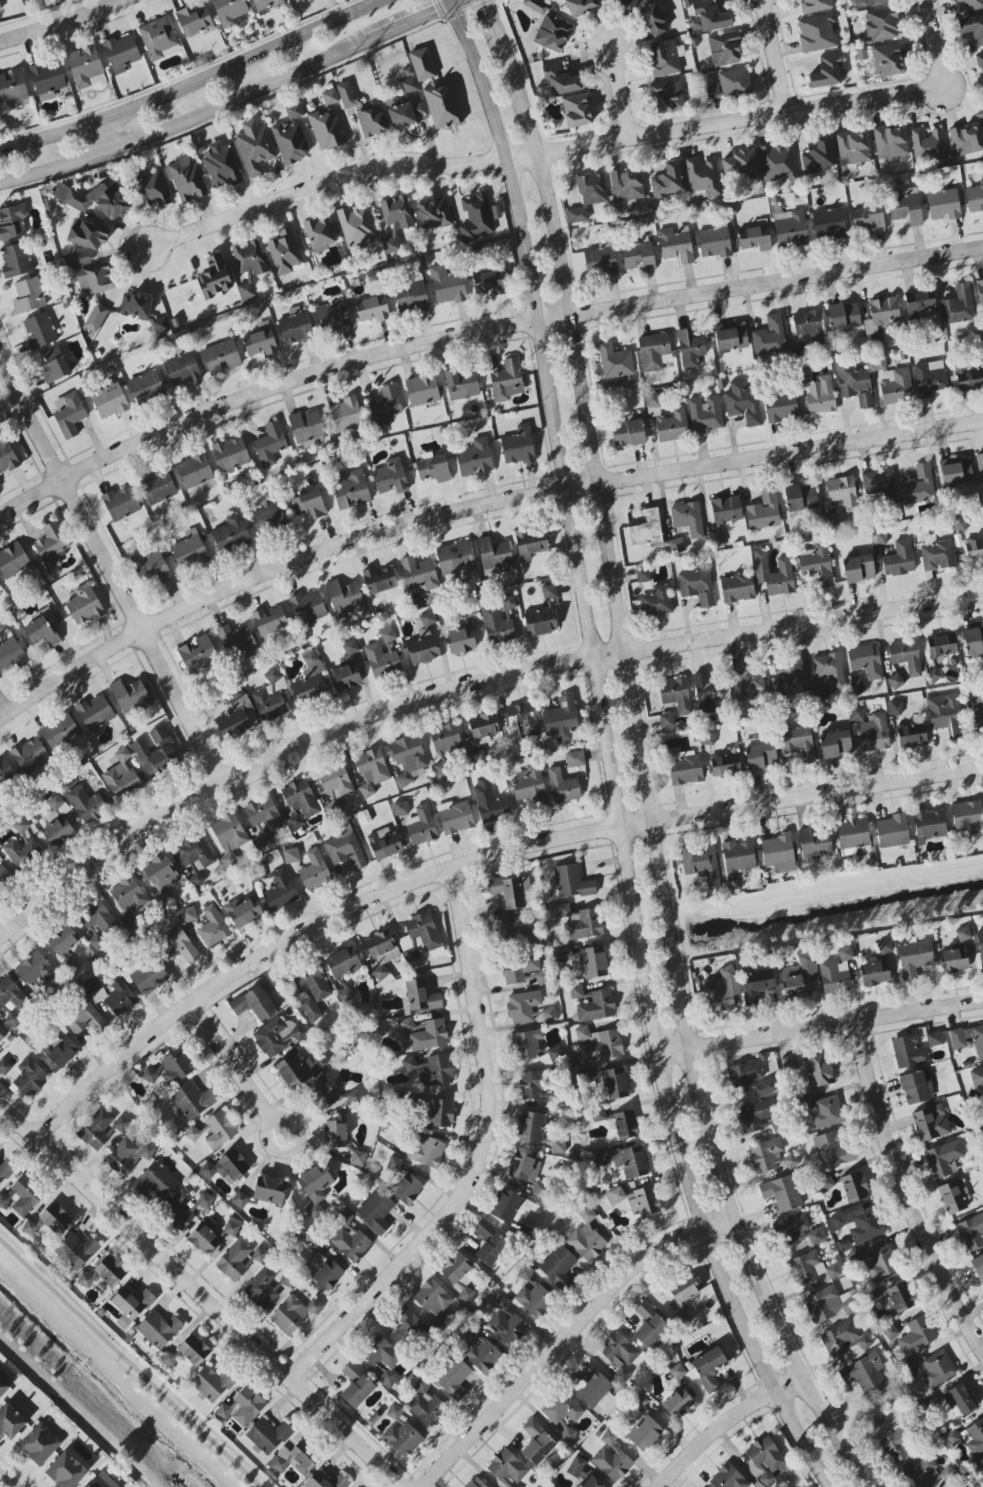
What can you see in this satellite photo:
road: (449, 2)
road: (456, 2)
building: (624, 3)
building: (868, 3)
building: (266, 5)
building: (535, 5)
building: (815, 5)
building: (967, 5)
building: (581, 7)
traffic signals: (488, 8)
building: (0, 9)
building: (229, 11)
traffic signals: (437, 11)
building: (708, 17)
building: (653, 20)
building: (194, 21)
road: (60, 22)
road: (409, 23)
building: (882, 25)
road: (494, 27)
building: (973, 28)
building: (816, 33)
building: (552, 34)
building: (159, 39)
road: (934, 44)
building: (724, 50)
building: (121, 53)
road: (777, 55)
building: (665, 58)
building: (888, 60)
building: (981, 63)
building: (422, 65)
building: (84, 66)
building: (826, 72)
road: (253, 75)
building: (560, 79)
building: (47, 80)
building: (734, 82)
road: (195, 84)
building: (408, 85)
building: (12, 91)
building: (712, 91)
road: (621, 93)
building: (668, 95)
building: (443, 105)
building: (577, 110)
building: (363, 112)
building: (404, 113)
building: (980, 115)
road: (187, 121)
building: (326, 124)
road: (106, 136)
building: (290, 136)
building: (966, 140)
building: (890, 142)
building: (927, 144)
building: (254, 148)
building: (852, 148)
road: (541, 153)
building: (818, 156)
building: (777, 162)
building: (739, 165)
building: (221, 166)
building: (186, 179)
building: (668, 181)
building: (627, 185)
building: (152, 190)
building: (588, 196)
building: (974, 198)
building: (96, 199)
building: (943, 204)
building: (905, 206)
building: (397, 212)
building: (434, 214)
building: (476, 217)
building: (867, 220)
building: (12, 222)
building: (828, 224)
building: (356, 225)
building: (790, 229)
building: (319, 235)
building: (88, 236)
building: (755, 238)
building: (714, 243)
building: (676, 244)
building: (391, 245)
building: (285, 253)
building: (638, 257)
building: (78, 259)
building: (600, 260)
building: (15, 261)
building: (249, 267)
building: (214, 278)
building: (95, 279)
building: (487, 284)
building: (447, 286)
building: (980, 292)
building: (28, 296)
building: (411, 297)
building: (919, 305)
building: (958, 306)
building: (372, 309)
building: (141, 311)
building: (332, 316)
building: (843, 316)
building: (881, 317)
building: (95, 318)
building: (294, 324)
building: (809, 326)
building: (39, 331)
road: (476, 335)
building: (770, 336)
building: (731, 337)
building: (260, 341)
building: (690, 349)
building: (654, 352)
building: (221, 358)
building: (615, 361)
building: (878, 363)
building: (54, 366)
building: (181, 370)
building: (804, 375)
building: (930, 379)
building: (969, 379)
building: (507, 381)
building: (854, 383)
building: (462, 384)
building: (146, 387)
building: (422, 390)
building: (821, 397)
building: (110, 401)
building: (742, 401)
building: (384, 407)
building: (781, 407)
building: (69, 414)
building: (705, 414)
building: (345, 415)
building: (668, 422)
building: (306, 426)
building: (628, 433)
building: (270, 444)
building: (518, 447)
building: (231, 455)
building: (6, 456)
building: (475, 458)
building: (433, 469)
building: (980, 469)
building: (956, 471)
building: (194, 473)
building: (390, 478)
building: (879, 483)
building: (919, 485)
building: (158, 487)
building: (351, 489)
building: (842, 492)
building: (801, 498)
building: (121, 503)
building: (309, 504)
building: (726, 510)
building: (764, 511)
road: (471, 513)
building: (267, 518)
building: (687, 518)
building: (831, 521)
building: (648, 530)
building: (231, 534)
building: (715, 539)
building: (530, 545)
building: (51, 546)
building: (676, 546)
building: (974, 549)
building: (190, 550)
building: (937, 554)
building: (495, 555)
building: (454, 557)
building: (899, 559)
building: (13, 561)
road: (110, 563)
building: (816, 564)
building: (150, 567)
building: (858, 569)
building: (773, 574)
building: (419, 575)
building: (643, 576)
building: (379, 580)
building: (697, 587)
building: (737, 587)
building: (345, 599)
building: (656, 602)
building: (84, 605)
building: (308, 609)
building: (542, 615)
building: (428, 619)
building: (269, 621)
building: (500, 621)
building: (42, 630)
building: (237, 640)
building: (461, 641)
building: (973, 641)
building: (941, 645)
building: (350, 648)
building: (423, 649)
building: (10, 652)
building: (382, 653)
building: (198, 654)
building: (906, 657)
building: (866, 661)
building: (829, 669)
building: (792, 676)
building: (345, 677)
building: (310, 680)
building: (895, 682)
building: (747, 685)
road: (460, 688)
building: (856, 688)
building: (706, 692)
building: (818, 694)
building: (675, 695)
building: (270, 697)
building: (131, 698)
building: (895, 708)
building: (975, 711)
building: (95, 713)
building: (943, 715)
building: (235, 719)
building: (561, 720)
building: (666, 721)
building: (521, 724)
building: (483, 727)
building: (871, 730)
building: (61, 733)
building: (911, 736)
building: (445, 739)
building: (706, 739)
building: (798, 743)
building: (835, 744)
building: (164, 747)
building: (30, 755)
building: (760, 757)
road: (603, 758)
building: (409, 759)
building: (575, 759)
building: (725, 763)
building: (685, 768)
building: (371, 771)
building: (5, 772)
building: (122, 777)
building: (335, 781)
road: (645, 784)
building: (530, 786)
building: (563, 787)
building: (489, 802)
building: (300, 803)
building: (56, 805)
building: (85, 806)
building: (400, 809)
building: (264, 814)
building: (968, 816)
building: (455, 817)
building: (929, 825)
building: (421, 826)
building: (892, 831)
building: (58, 833)
building: (229, 837)
building: (854, 837)
building: (261, 840)
building: (815, 843)
building: (21, 845)
building: (384, 845)
building: (346, 848)
building: (779, 853)
building: (291, 856)
building: (195, 857)
building: (738, 859)
road: (472, 862)
building: (702, 864)
building: (314, 871)
building: (2, 877)
building: (161, 877)
building: (570, 882)
building: (280, 890)
building: (510, 891)
building: (129, 894)
building: (243, 912)
building: (188, 915)
building: (97, 917)
building: (579, 922)
building: (213, 927)
building: (513, 929)
building: (420, 937)
building: (63, 944)
building: (980, 945)
building: (176, 946)
building: (885, 947)
building: (381, 951)
building: (845, 954)
building: (955, 954)
building: (914, 958)
building: (588, 960)
building: (343, 963)
building: (35, 970)
building: (523, 970)
building: (875, 973)
building: (799, 976)
building: (148, 977)
building: (834, 977)
building: (92, 985)
building: (757, 990)
building: (721, 991)
building: (311, 992)
building: (119, 996)
building: (345, 996)
building: (11, 1000)
building: (593, 1003)
building: (254, 1004)
building: (523, 1007)
building: (550, 1015)
building: (86, 1019)
building: (407, 1026)
road: (820, 1027)
building: (2, 1032)
building: (277, 1036)
building: (427, 1037)
building: (933, 1039)
building: (968, 1039)
building: (600, 1044)
building: (526, 1045)
building: (63, 1052)
building: (909, 1052)
road: (231, 1061)
building: (4, 1067)
building: (171, 1068)
building: (298, 1069)
building: (811, 1069)
building: (431, 1070)
building: (30, 1078)
building: (977, 1078)
building: (751, 1079)
building: (615, 1083)
building: (530, 1086)
building: (917, 1087)
building: (323, 1095)
building: (355, 1097)
building: (193, 1100)
building: (824, 1112)
building: (441, 1113)
building: (598, 1115)
building: (755, 1115)
building: (930, 1123)
building: (625, 1125)
building: (531, 1128)
building: (96, 1130)
building: (220, 1130)
road: (265, 1133)
building: (193, 1134)
building: (335, 1134)
building: (832, 1150)
building: (427, 1152)
building: (765, 1155)
building: (127, 1157)
road: (484, 1157)
building: (358, 1158)
building: (943, 1159)
building: (626, 1161)
building: (394, 1164)
building: (226, 1167)
building: (524, 1167)
building: (6, 1170)
building: (156, 1181)
building: (854, 1187)
building: (315, 1188)
building: (539, 1189)
building: (269, 1190)
building: (407, 1190)
building: (782, 1193)
road: (904, 1193)
building: (24, 1197)
building: (615, 1197)
building: (953, 1197)
building: (239, 1200)
building: (4, 1201)
building: (644, 1201)
building: (511, 1208)
building: (178, 1210)
building: (376, 1211)
building: (55, 1218)
building: (857, 1223)
building: (232, 1227)
building: (29, 1228)
building: (790, 1230)
building: (971, 1232)
building: (816, 1236)
building: (205, 1237)
building: (586, 1237)
building: (351, 1240)
building: (490, 1244)
building: (77, 1250)
building: (259, 1255)
building: (234, 1261)
building: (880, 1263)
building: (558, 1266)
building: (807, 1267)
building: (978, 1267)
building: (456, 1268)
building: (323, 1270)
building: (110, 1271)
building: (833, 1271)
building: (525, 1273)
building: (86, 1280)
building: (683, 1288)
building: (262, 1289)
road: (202, 1295)
building: (432, 1298)
building: (533, 1299)
building: (898, 1299)
building: (132, 1302)
building: (500, 1303)
building: (827, 1304)
building: (294, 1314)
building: (681, 1318)
building: (404, 1324)
building: (649, 1326)
building: (507, 1327)
building: (159, 1329)
building: (890, 1332)
road: (567, 1336)
building: (916, 1336)
building: (845, 1341)
building: (194, 1350)
building: (619, 1355)
building: (480, 1356)
building: (383, 1359)
building: (168, 1360)
road: (129, 1364)
building: (709, 1369)
building: (937, 1369)
building: (677, 1372)
building: (864, 1374)
building: (454, 1379)
building: (212, 1384)
building: (3, 1386)
building: (356, 1386)
building: (960, 1399)
building: (680, 1401)
building: (425, 1404)
building: (242, 1408)
building: (562, 1408)
building: (11, 1422)
road: (723, 1425)
building: (644, 1427)
building: (401, 1433)
building: (269, 1435)
building: (568, 1435)
building: (969, 1438)
building: (537, 1443)
building: (40, 1444)
building: (896, 1446)
building: (611, 1459)
building: (981, 1459)
building: (294, 1460)
building: (765, 1460)
building: (507, 1468)
building: (66, 1471)
building: (581, 1474)
building: (928, 1474)
building: (728, 1478)
building: (982, 1479)
building: (326, 1481)
building: (98, 1482)
road: (3, 1483)
building: (476, 1483)
building: (953, 1485)

